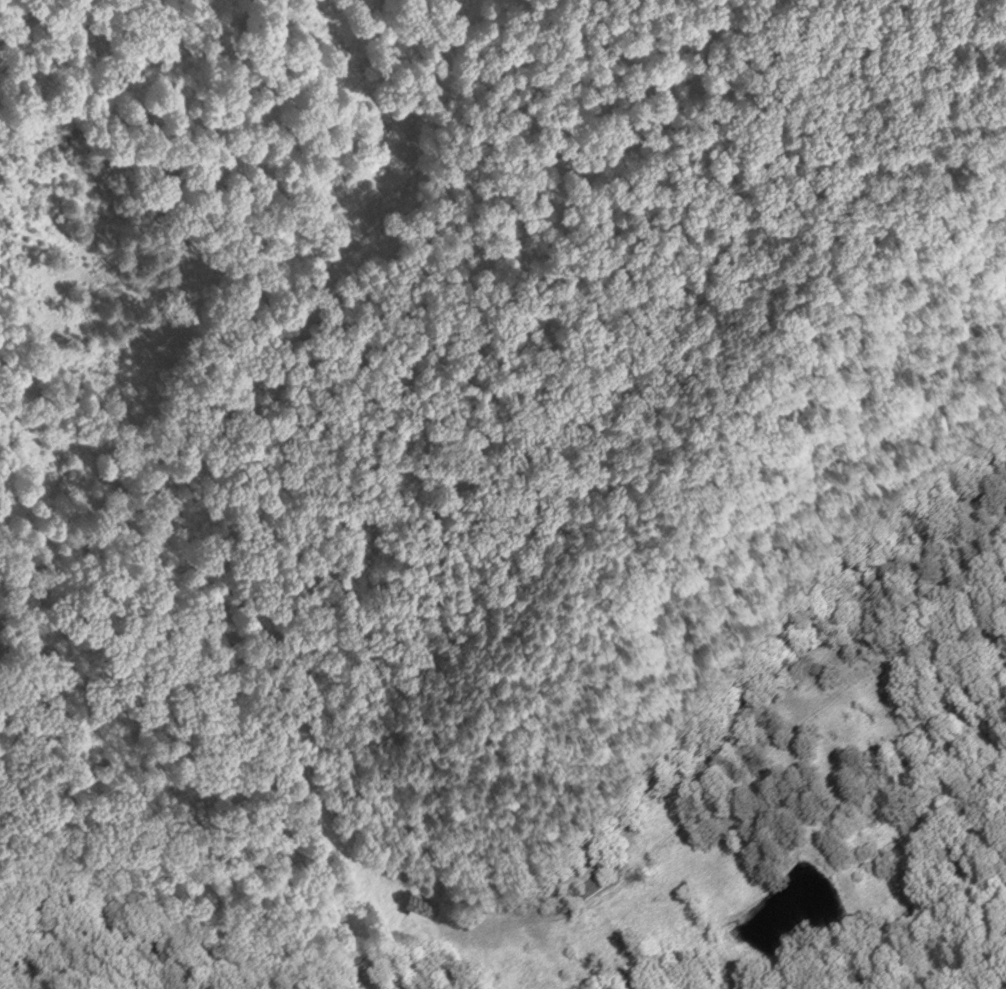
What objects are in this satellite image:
building: (419, 909)

